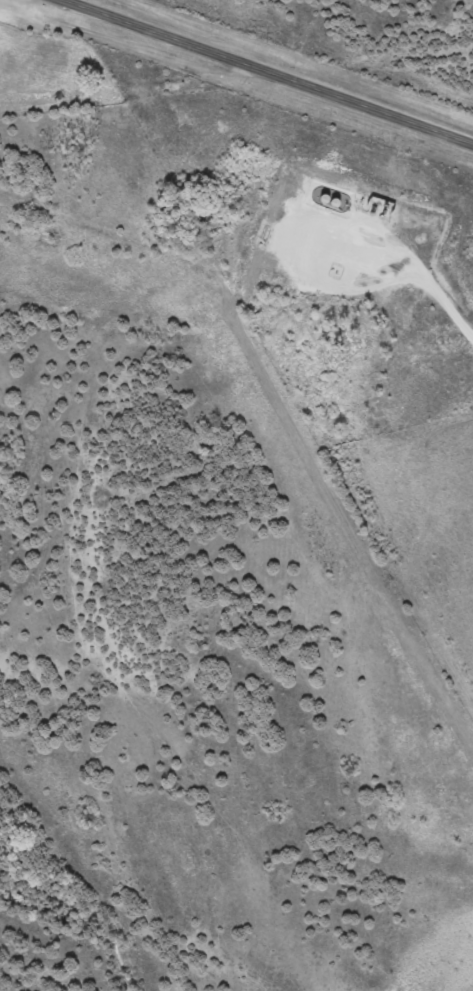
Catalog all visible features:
road: (3, 1)
road: (264, 74)
road: (236, 81)
building: (382, 204)

